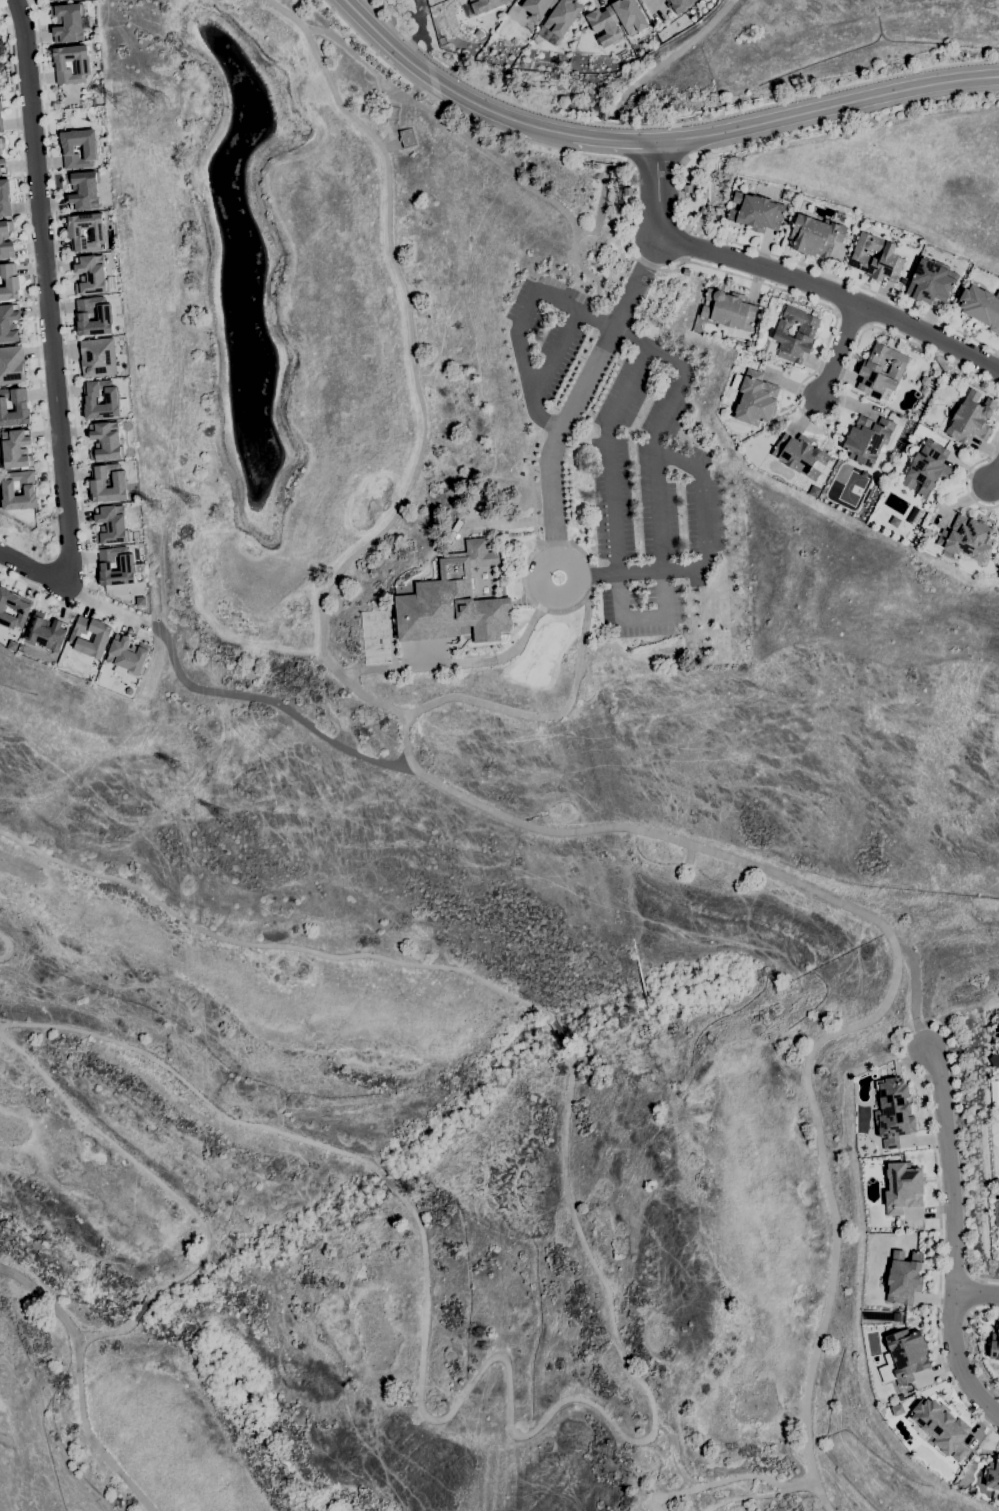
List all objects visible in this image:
building: (53, 0)
building: (65, 0)
building: (485, 5)
building: (678, 5)
building: (553, 13)
building: (616, 20)
building: (67, 22)
road: (669, 59)
building: (81, 65)
road: (445, 86)
power tower: (157, 99)
power tower: (121, 103)
road: (827, 113)
building: (1, 117)
road: (667, 125)
building: (407, 138)
road: (612, 139)
building: (2, 143)
building: (89, 150)
road: (484, 152)
road: (608, 158)
road: (654, 160)
building: (2, 165)
building: (687, 189)
building: (83, 190)
building: (628, 191)
road: (680, 193)
building: (4, 198)
road: (599, 207)
building: (702, 211)
building: (756, 212)
building: (699, 222)
building: (75, 233)
building: (815, 236)
building: (2, 240)
road: (27, 250)
building: (875, 257)
building: (686, 272)
building: (90, 275)
road: (788, 280)
building: (930, 281)
building: (9, 282)
road: (847, 282)
road: (45, 292)
building: (980, 306)
building: (728, 309)
building: (104, 317)
building: (9, 324)
road: (521, 324)
building: (795, 334)
parking lot: (544, 339)
road: (66, 345)
road: (839, 352)
road: (555, 354)
building: (97, 358)
building: (11, 365)
building: (870, 368)
road: (845, 370)
road: (415, 376)
road: (581, 389)
building: (756, 399)
building: (111, 400)
building: (21, 406)
building: (970, 419)
building: (867, 439)
building: (105, 441)
building: (15, 449)
road: (607, 455)
building: (799, 455)
road: (652, 465)
building: (927, 468)
road: (994, 475)
road: (966, 478)
building: (97, 484)
building: (29, 491)
road: (42, 494)
parking lot: (650, 495)
power tower: (194, 503)
power tower: (156, 507)
road: (699, 511)
building: (110, 525)
building: (967, 538)
building: (126, 567)
road: (36, 570)
road: (568, 597)
building: (453, 601)
building: (13, 609)
road: (639, 616)
building: (45, 632)
building: (101, 637)
building: (127, 655)
road: (458, 662)
road: (225, 693)
power tower: (178, 771)
power tower: (222, 815)
road: (788, 880)
park: (392, 939)
road: (270, 945)
road: (8, 947)
road: (914, 992)
road: (558, 1033)
building: (994, 1060)
road: (190, 1087)
road: (919, 1099)
building: (893, 1112)
road: (138, 1165)
road: (949, 1167)
road: (384, 1179)
building: (903, 1187)
road: (939, 1269)
road: (970, 1275)
building: (903, 1278)
road: (985, 1279)
road: (969, 1293)
road: (977, 1293)
road: (140, 1310)
road: (985, 1310)
road: (970, 1311)
building: (894, 1316)
road: (105, 1334)
building: (994, 1346)
building: (906, 1355)
road: (957, 1361)
road: (79, 1383)
road: (578, 1398)
building: (940, 1428)
road: (674, 1454)
building: (993, 1475)
road: (713, 1483)
road: (802, 1484)
road: (747, 1496)

